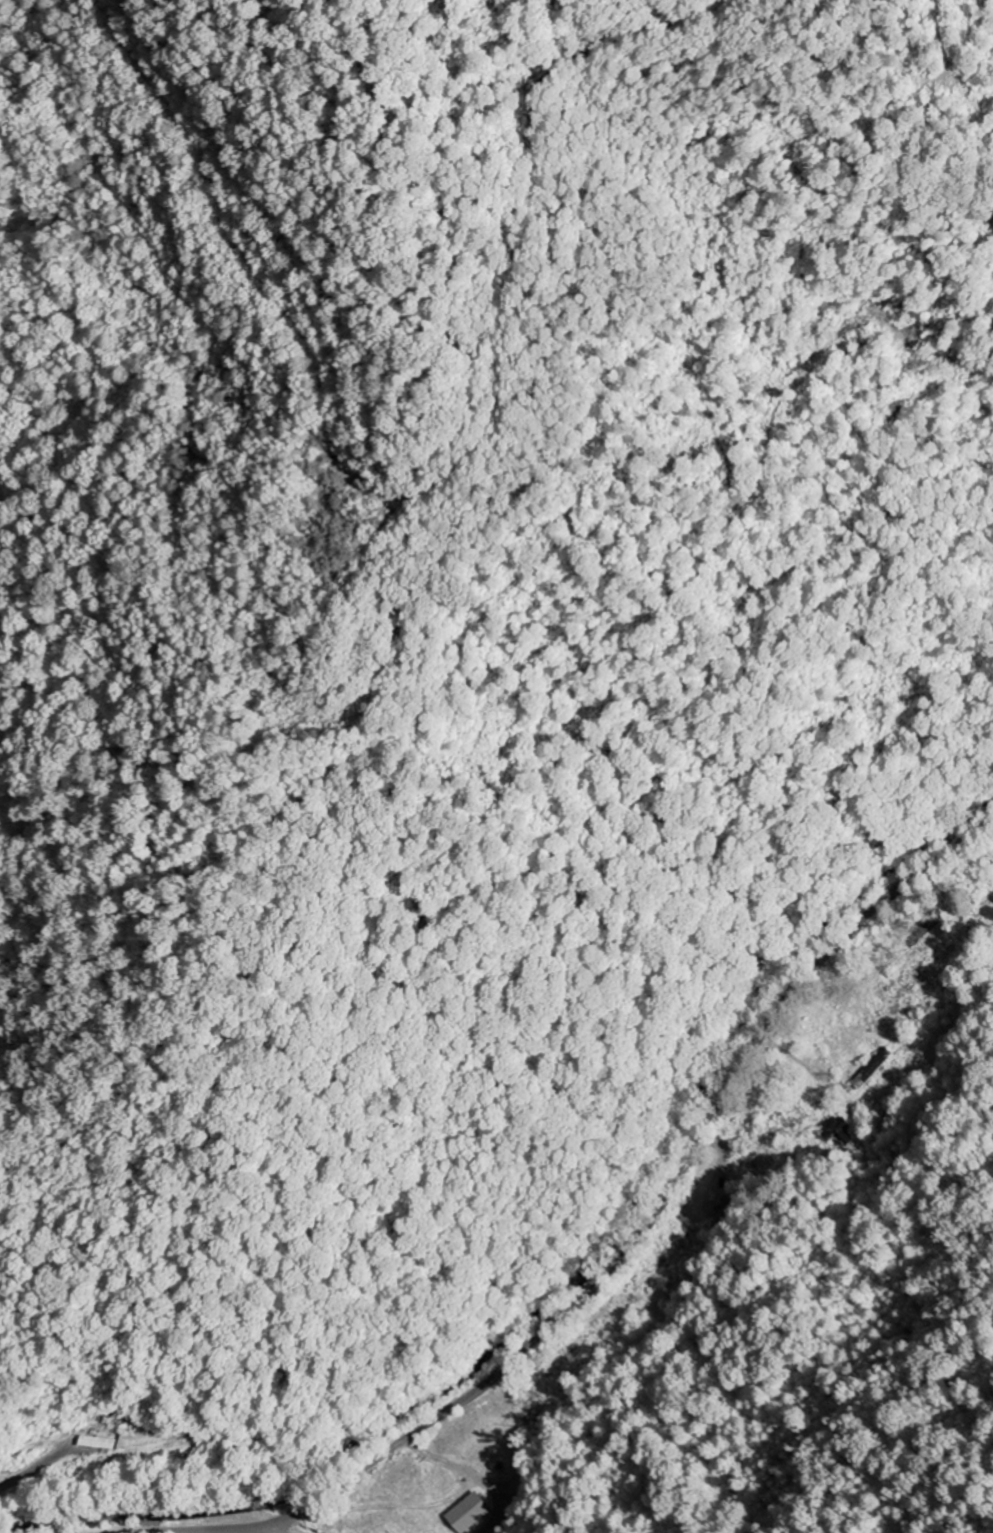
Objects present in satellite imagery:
road: (915, 1100)
road: (624, 1248)
building: (97, 1443)
building: (468, 1513)
road: (261, 1529)

